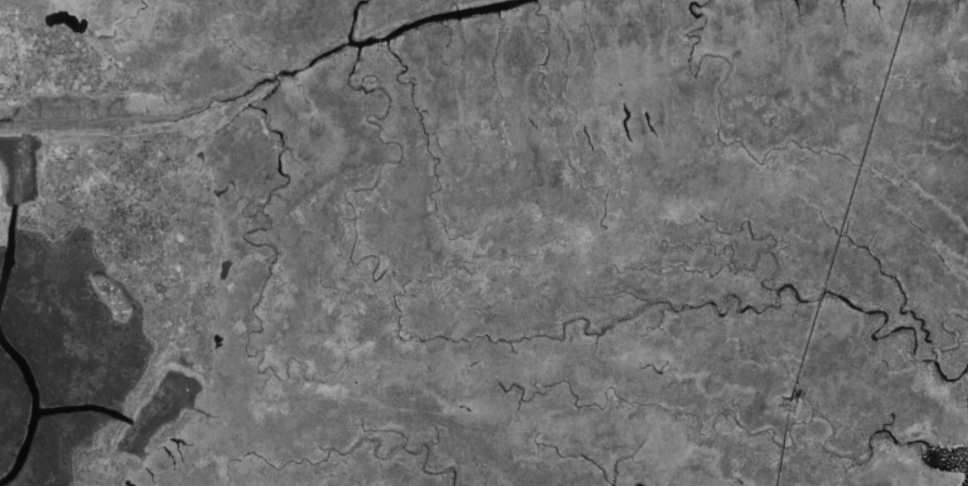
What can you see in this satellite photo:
power tower: (788, 407)

